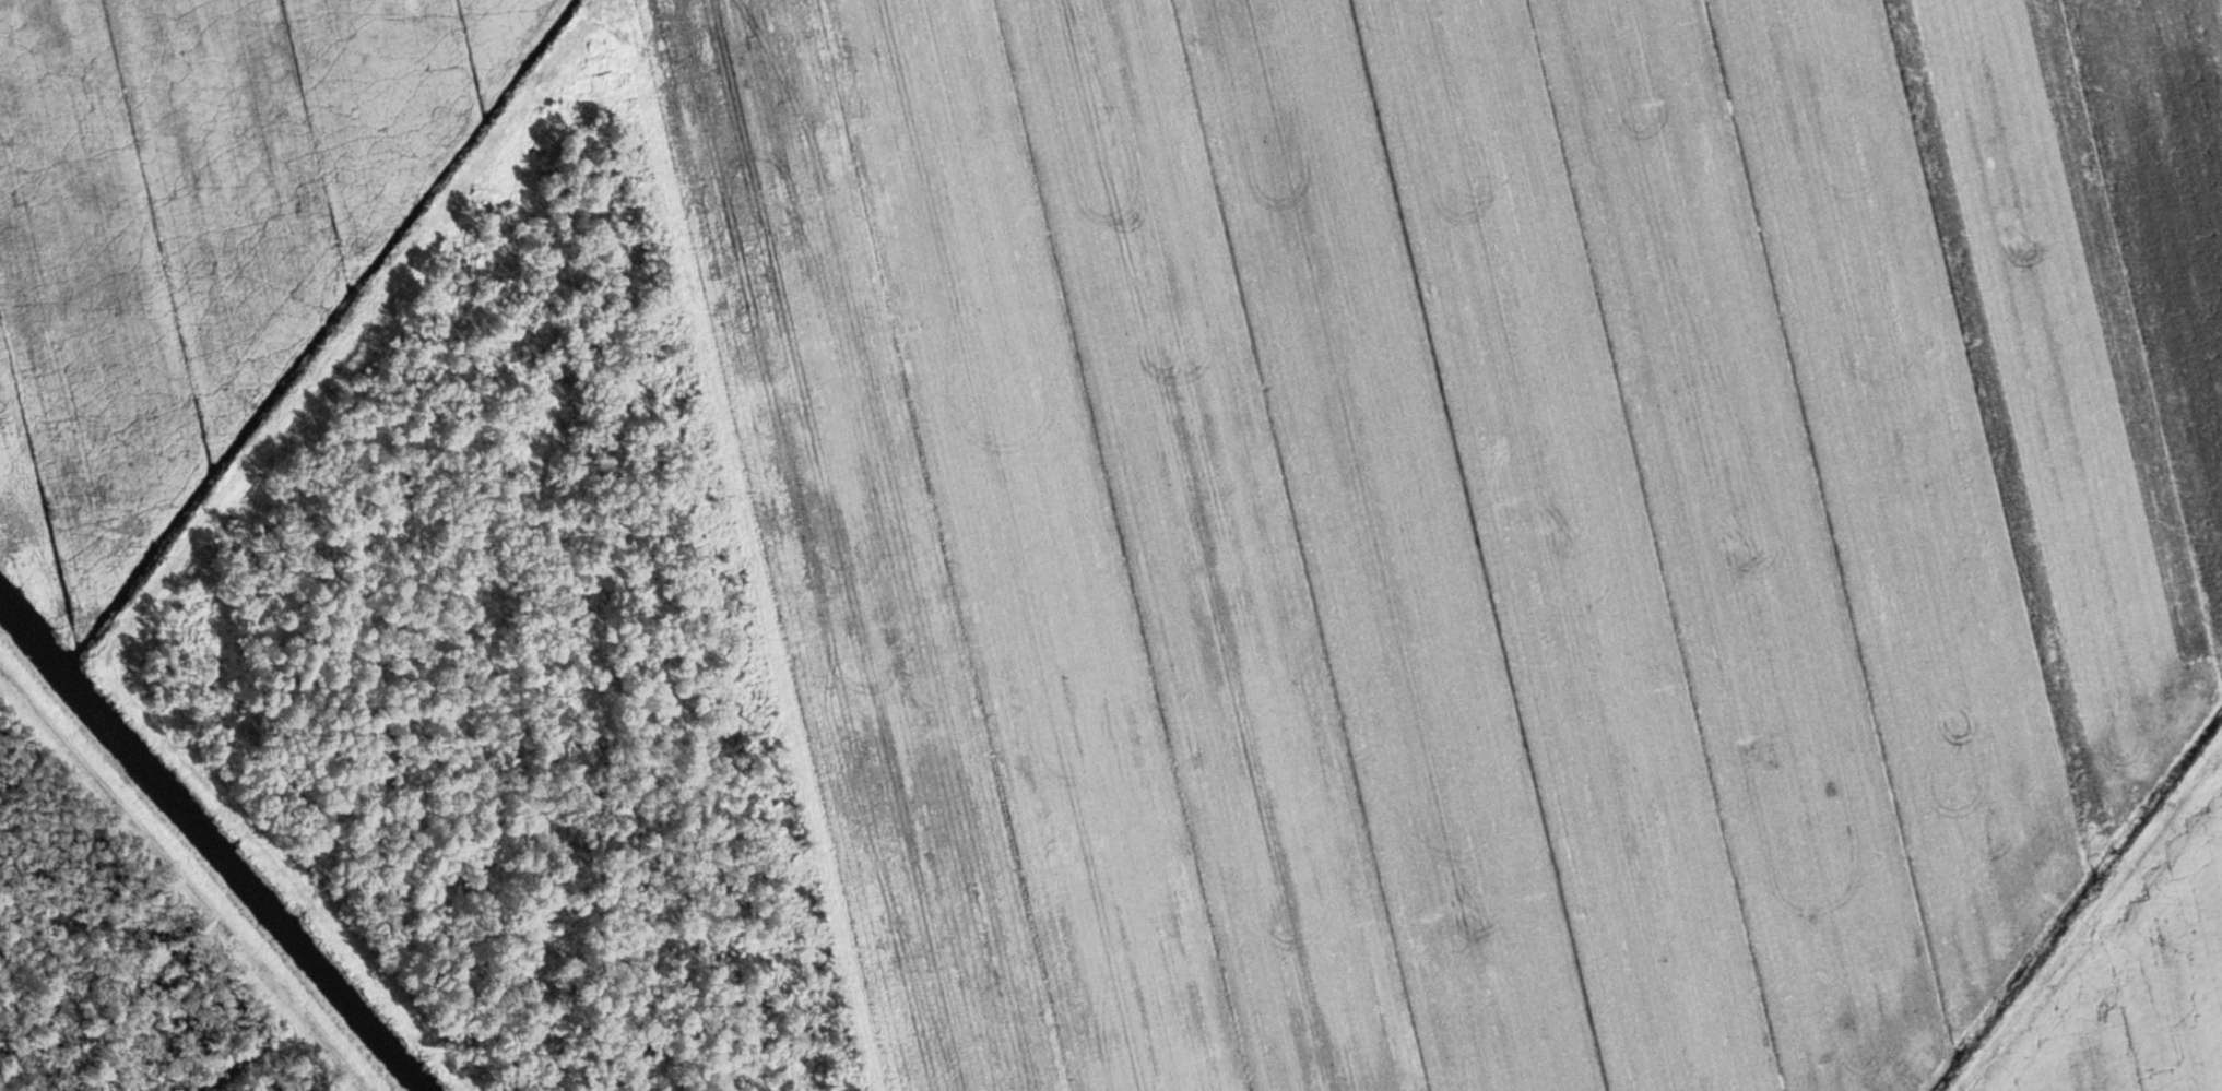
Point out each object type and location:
crop: (194, 235)
crop: (1463, 512)
road: (206, 843)
road: (2087, 914)
crop: (2134, 976)

